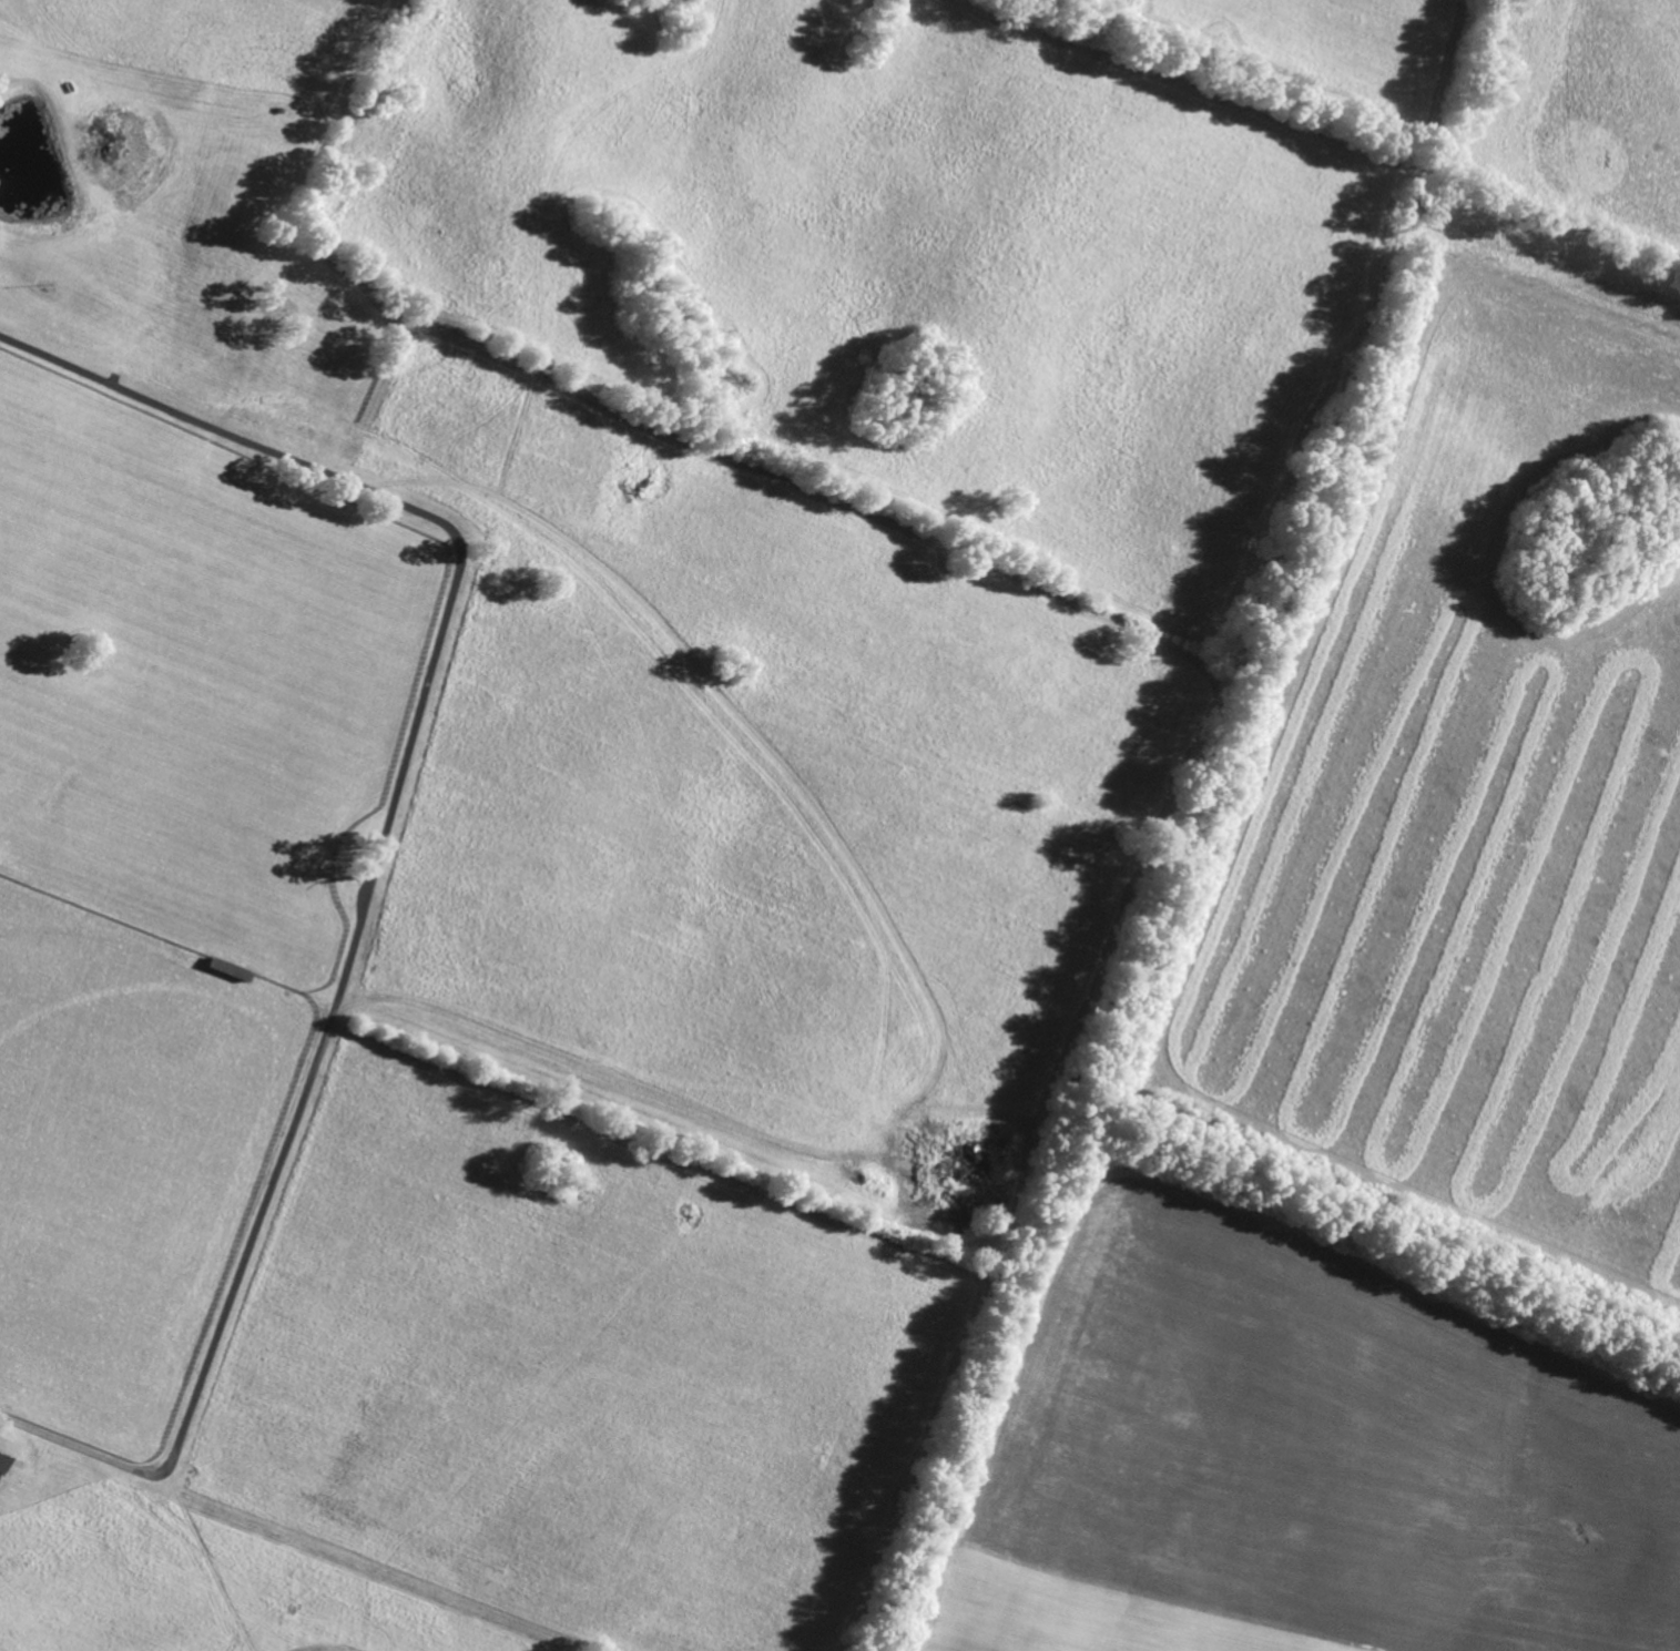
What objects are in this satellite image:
road: (19, 338)
building: (3, 1450)

